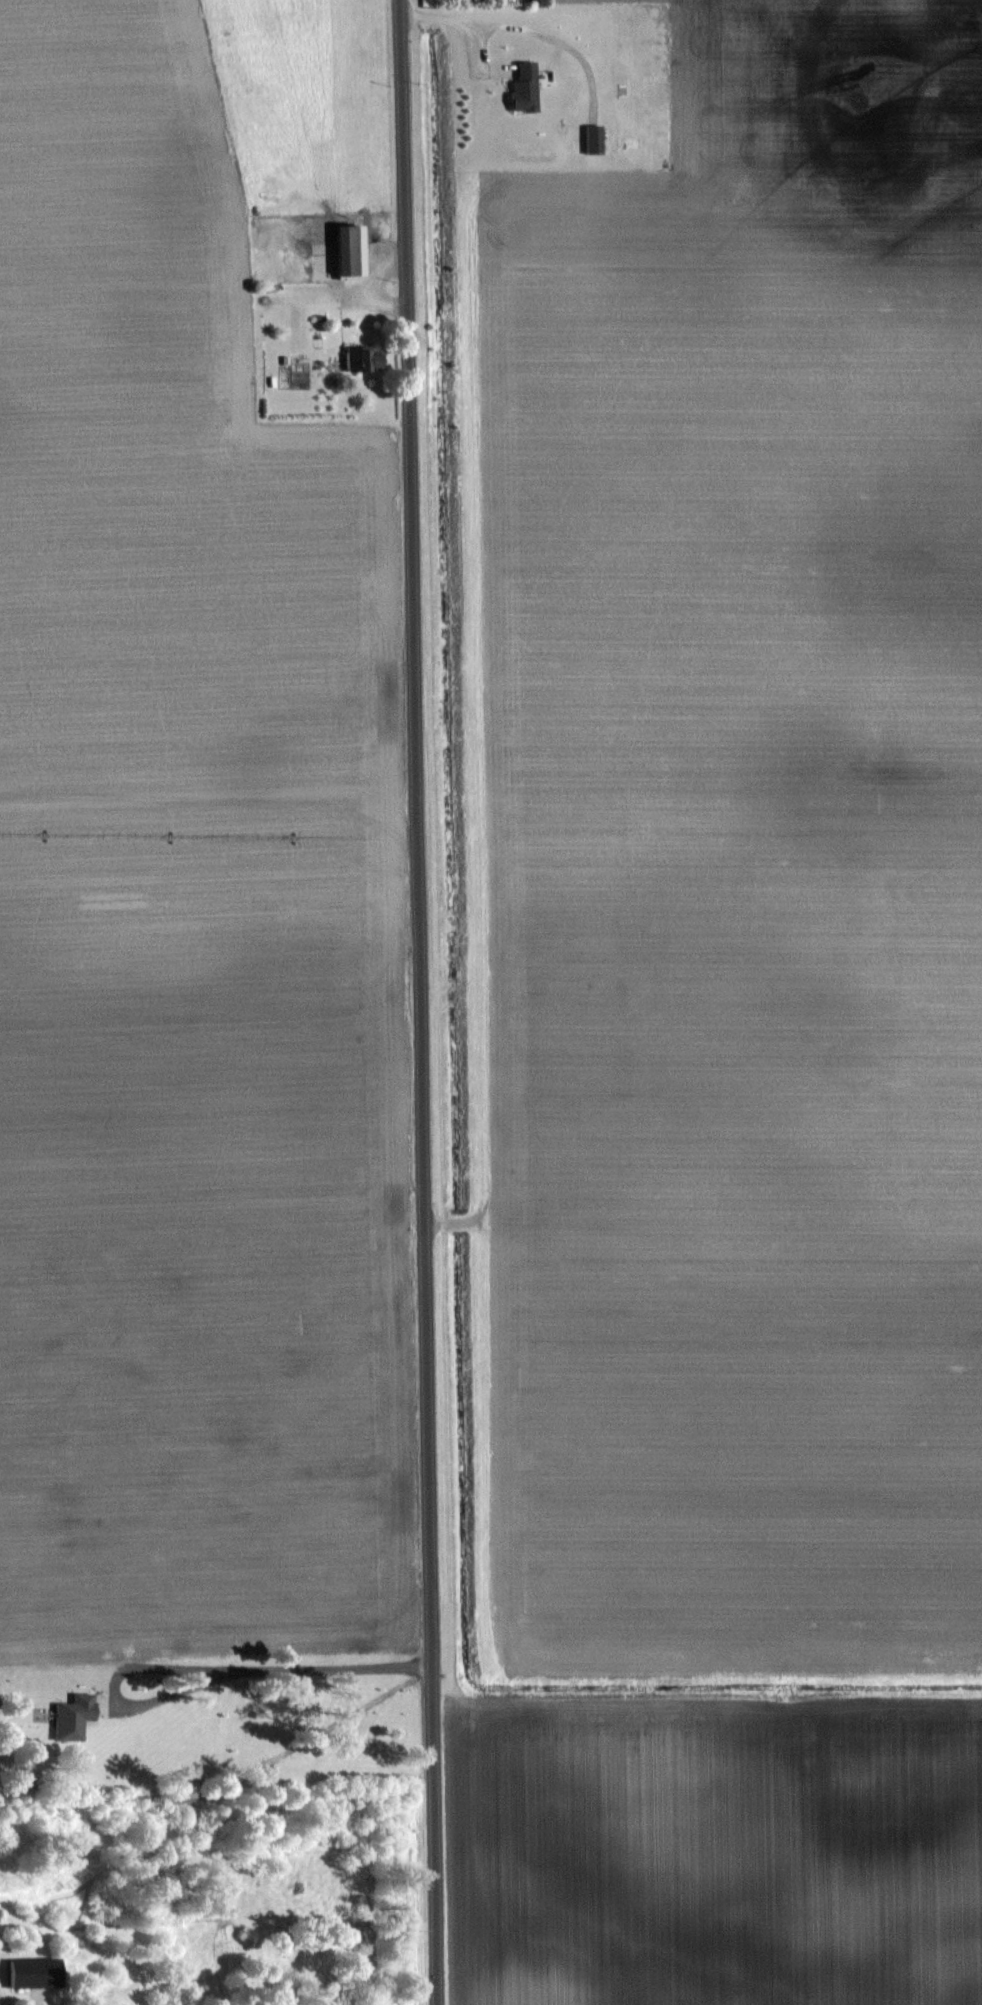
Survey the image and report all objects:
road: (453, 18)
building: (523, 88)
building: (348, 251)
building: (361, 357)
road: (417, 1002)
road: (194, 1664)
building: (29, 1972)

